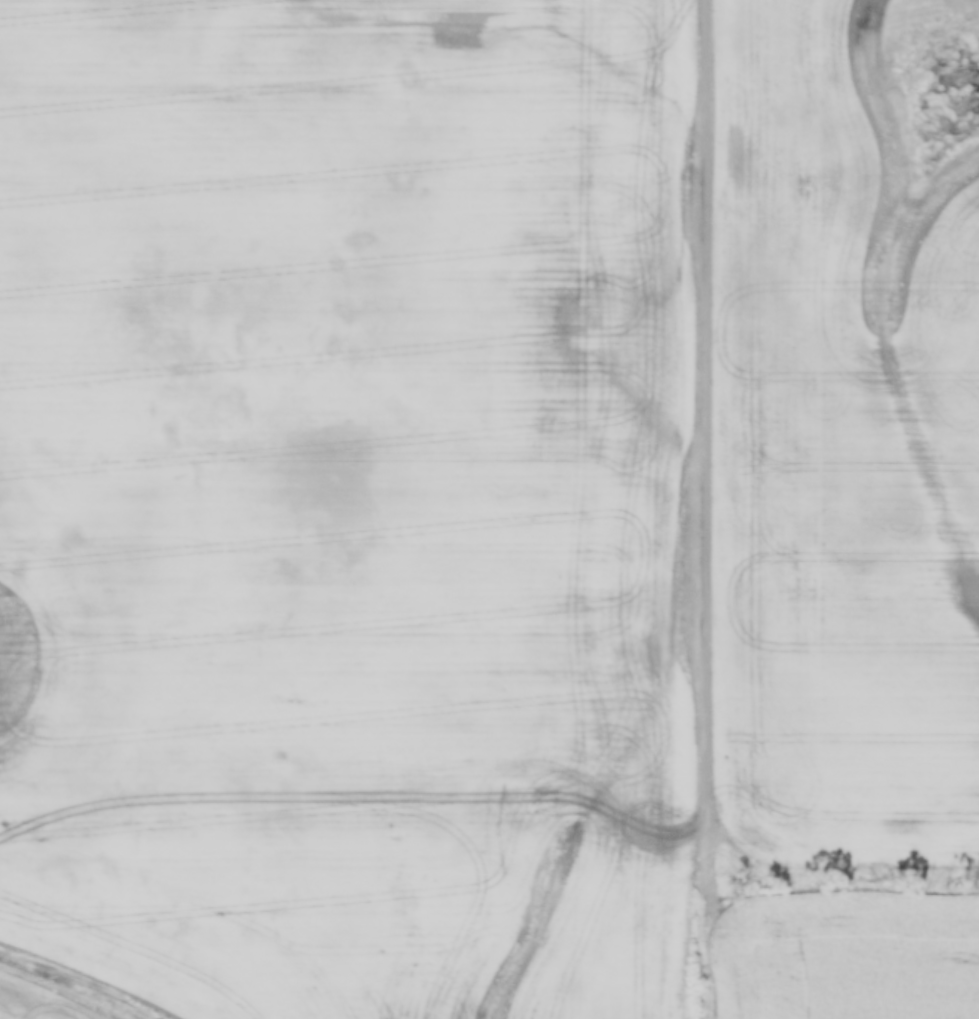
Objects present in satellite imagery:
road: (701, 436)

